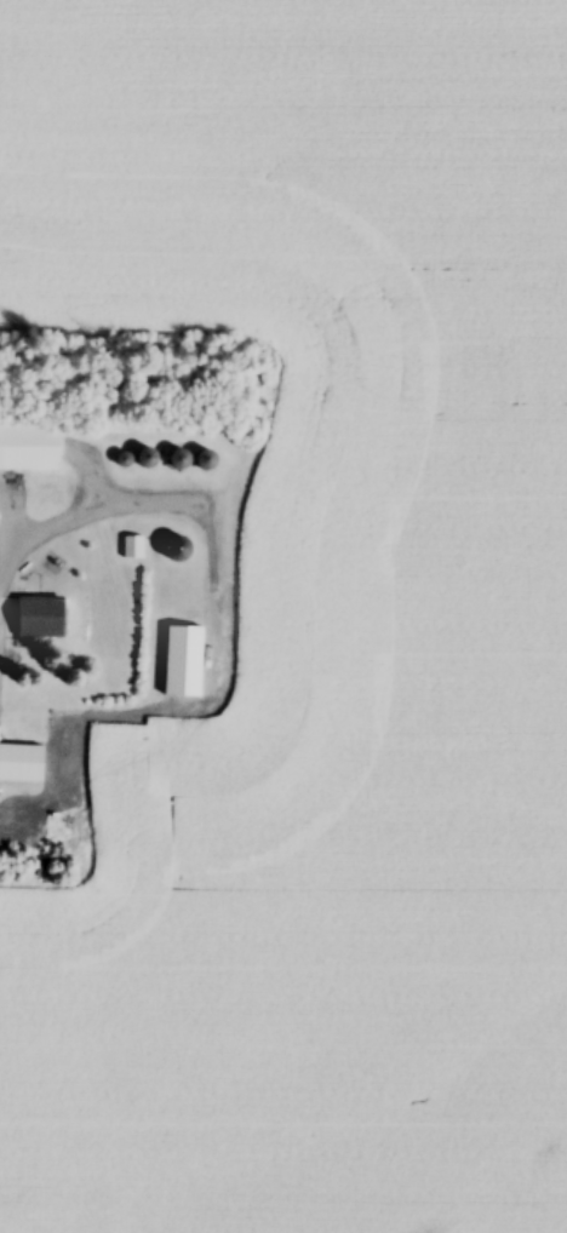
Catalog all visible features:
building: (30, 451)
road: (84, 516)
building: (42, 621)
building: (184, 665)
building: (22, 767)

